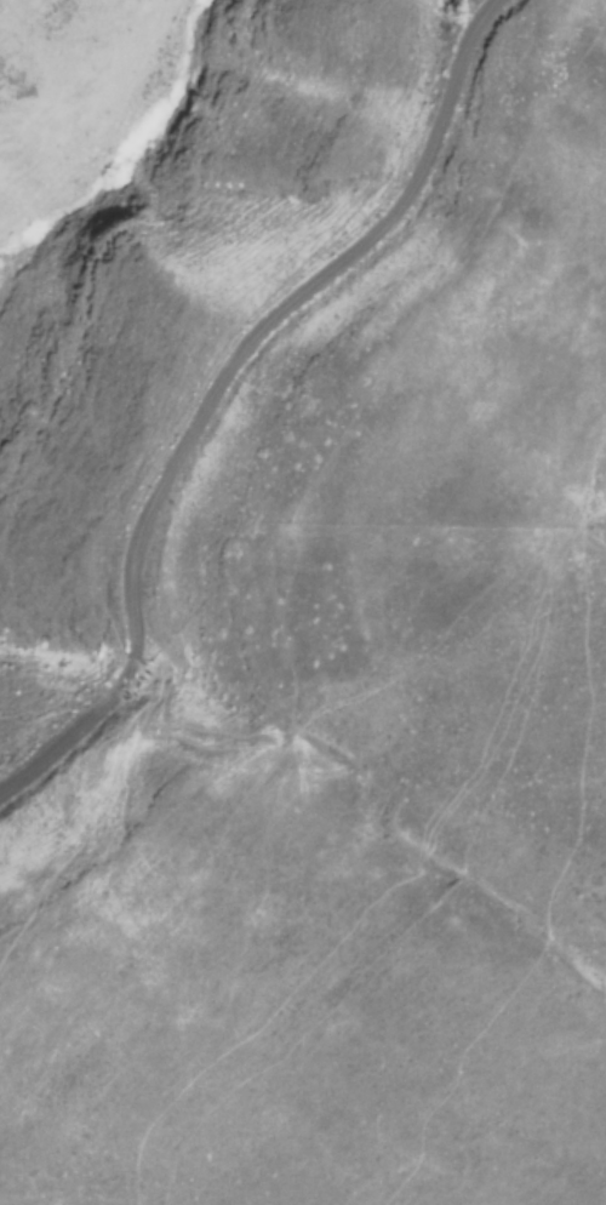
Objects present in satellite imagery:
road: (218, 386)

